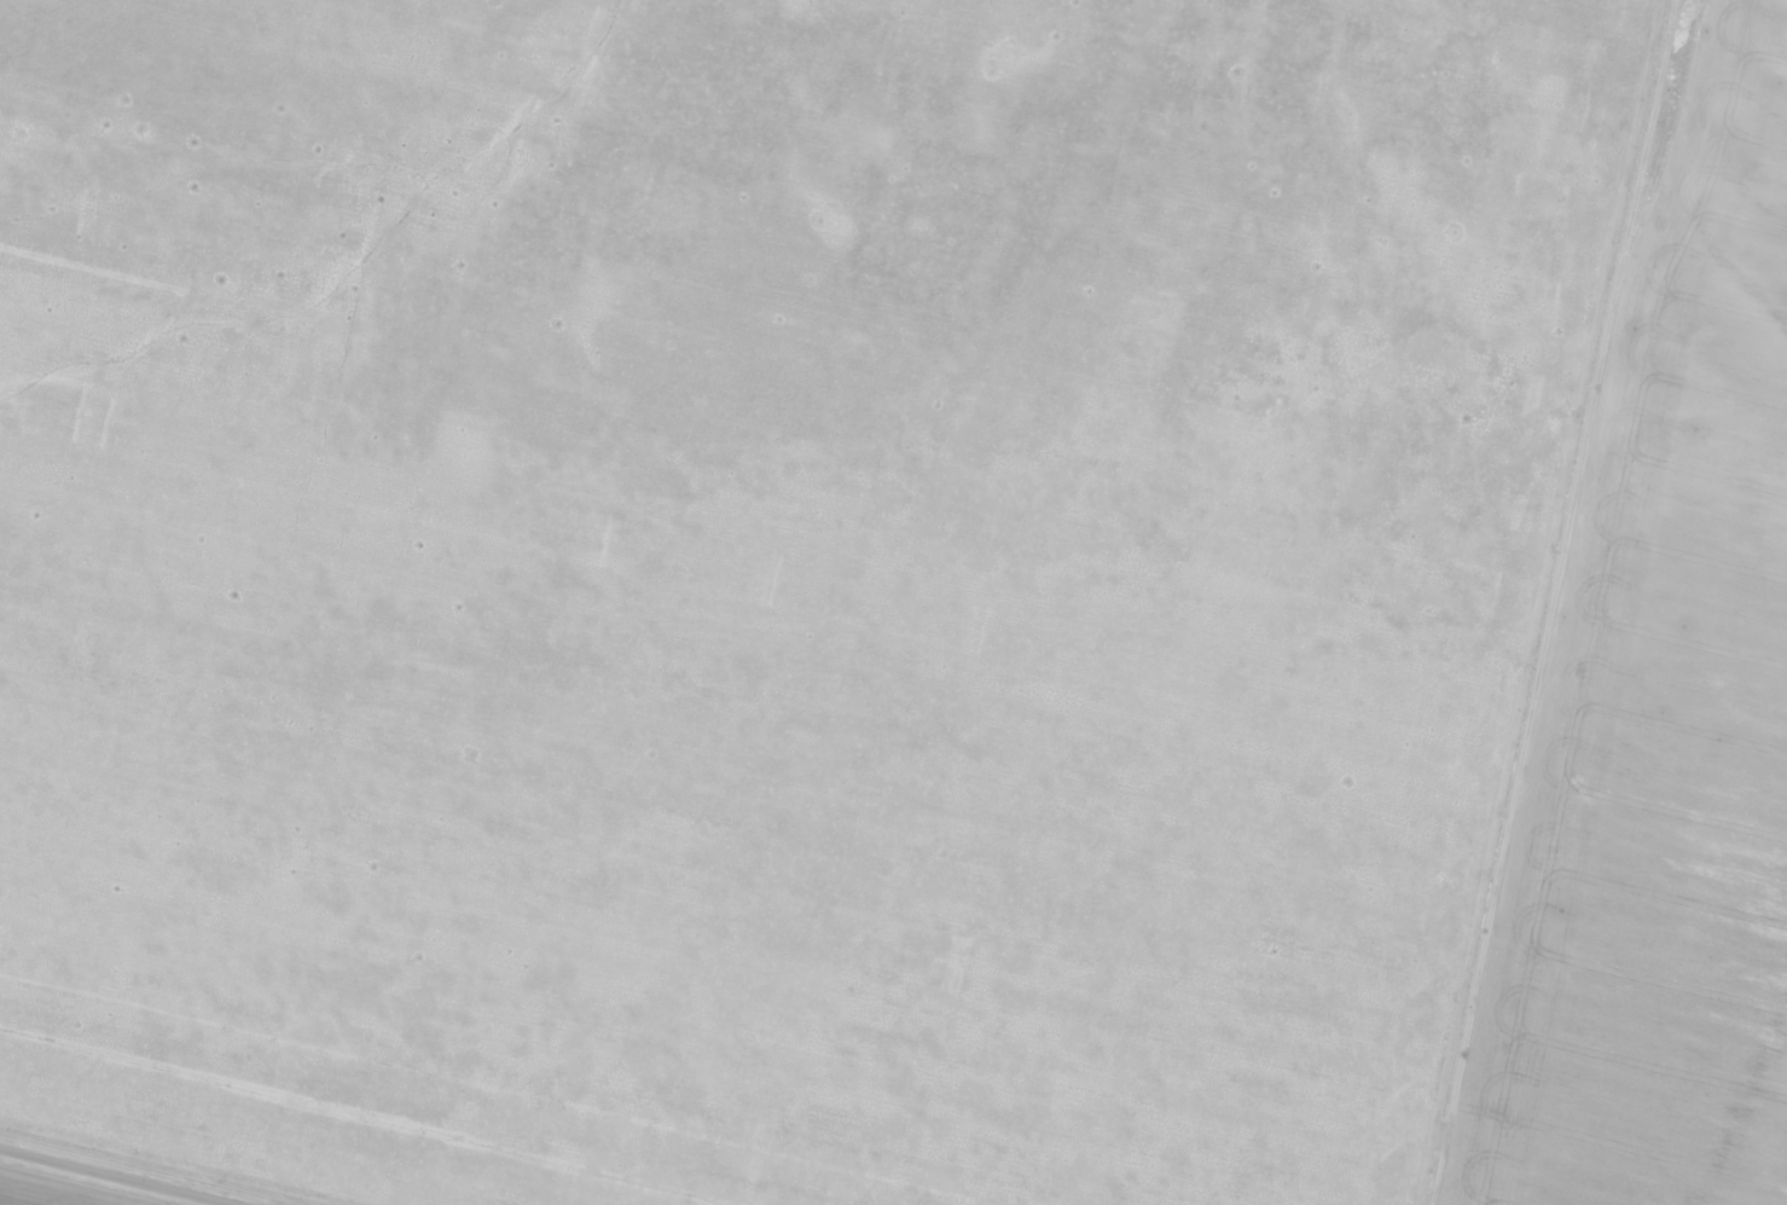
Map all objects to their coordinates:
road: (123, 1176)

